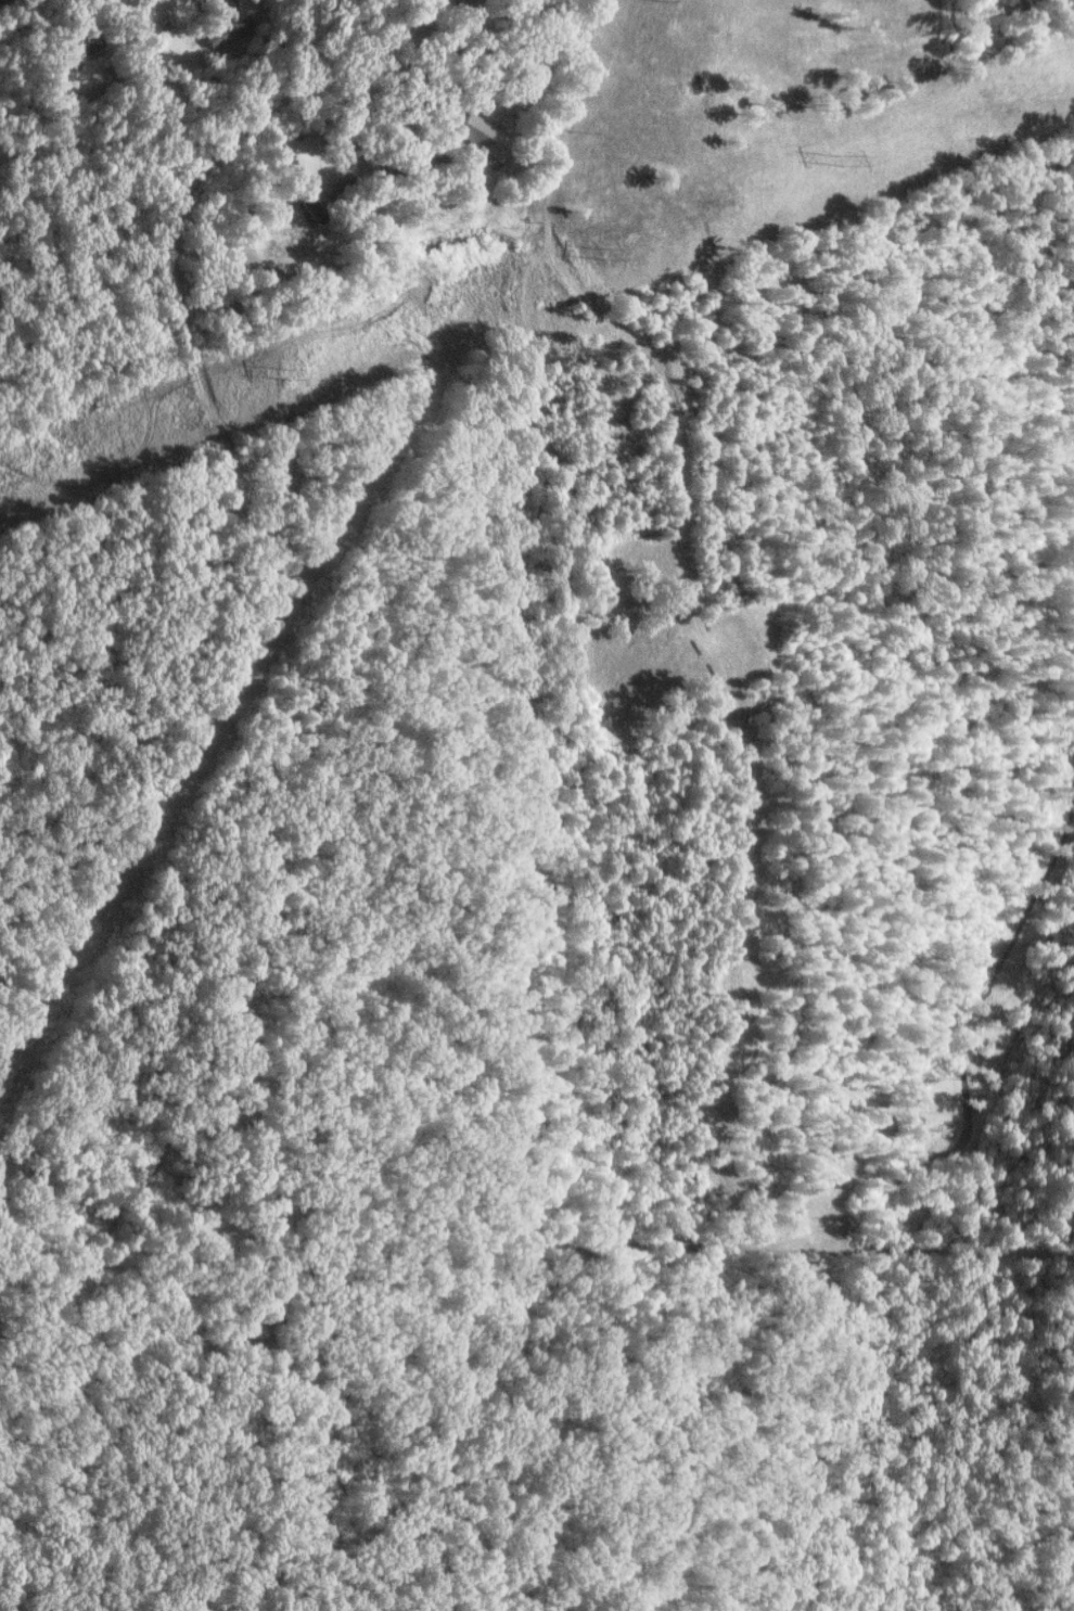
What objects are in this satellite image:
building: (228, 30)
building: (476, 136)
building: (319, 208)
road: (654, 350)

